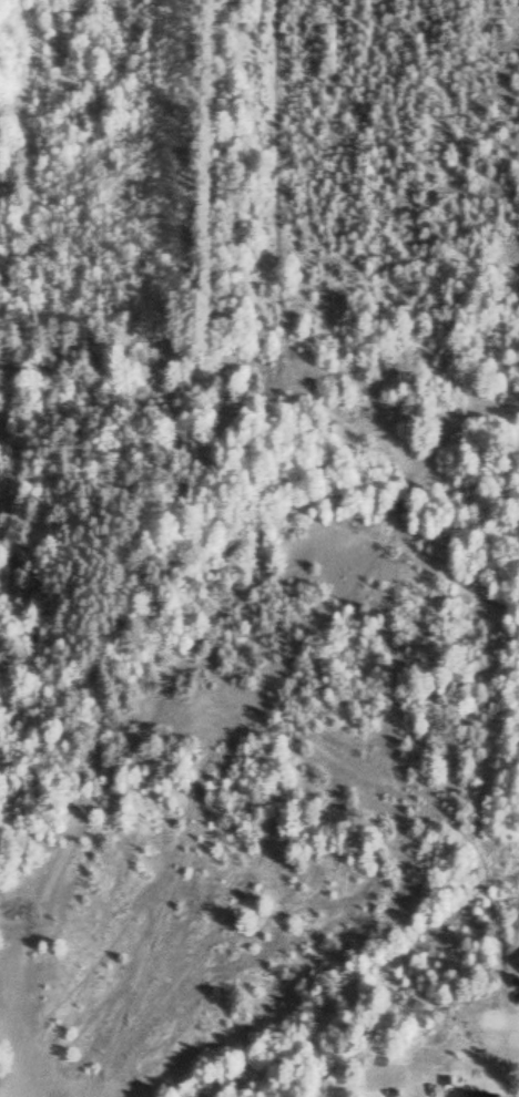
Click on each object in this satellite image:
road: (358, 575)

